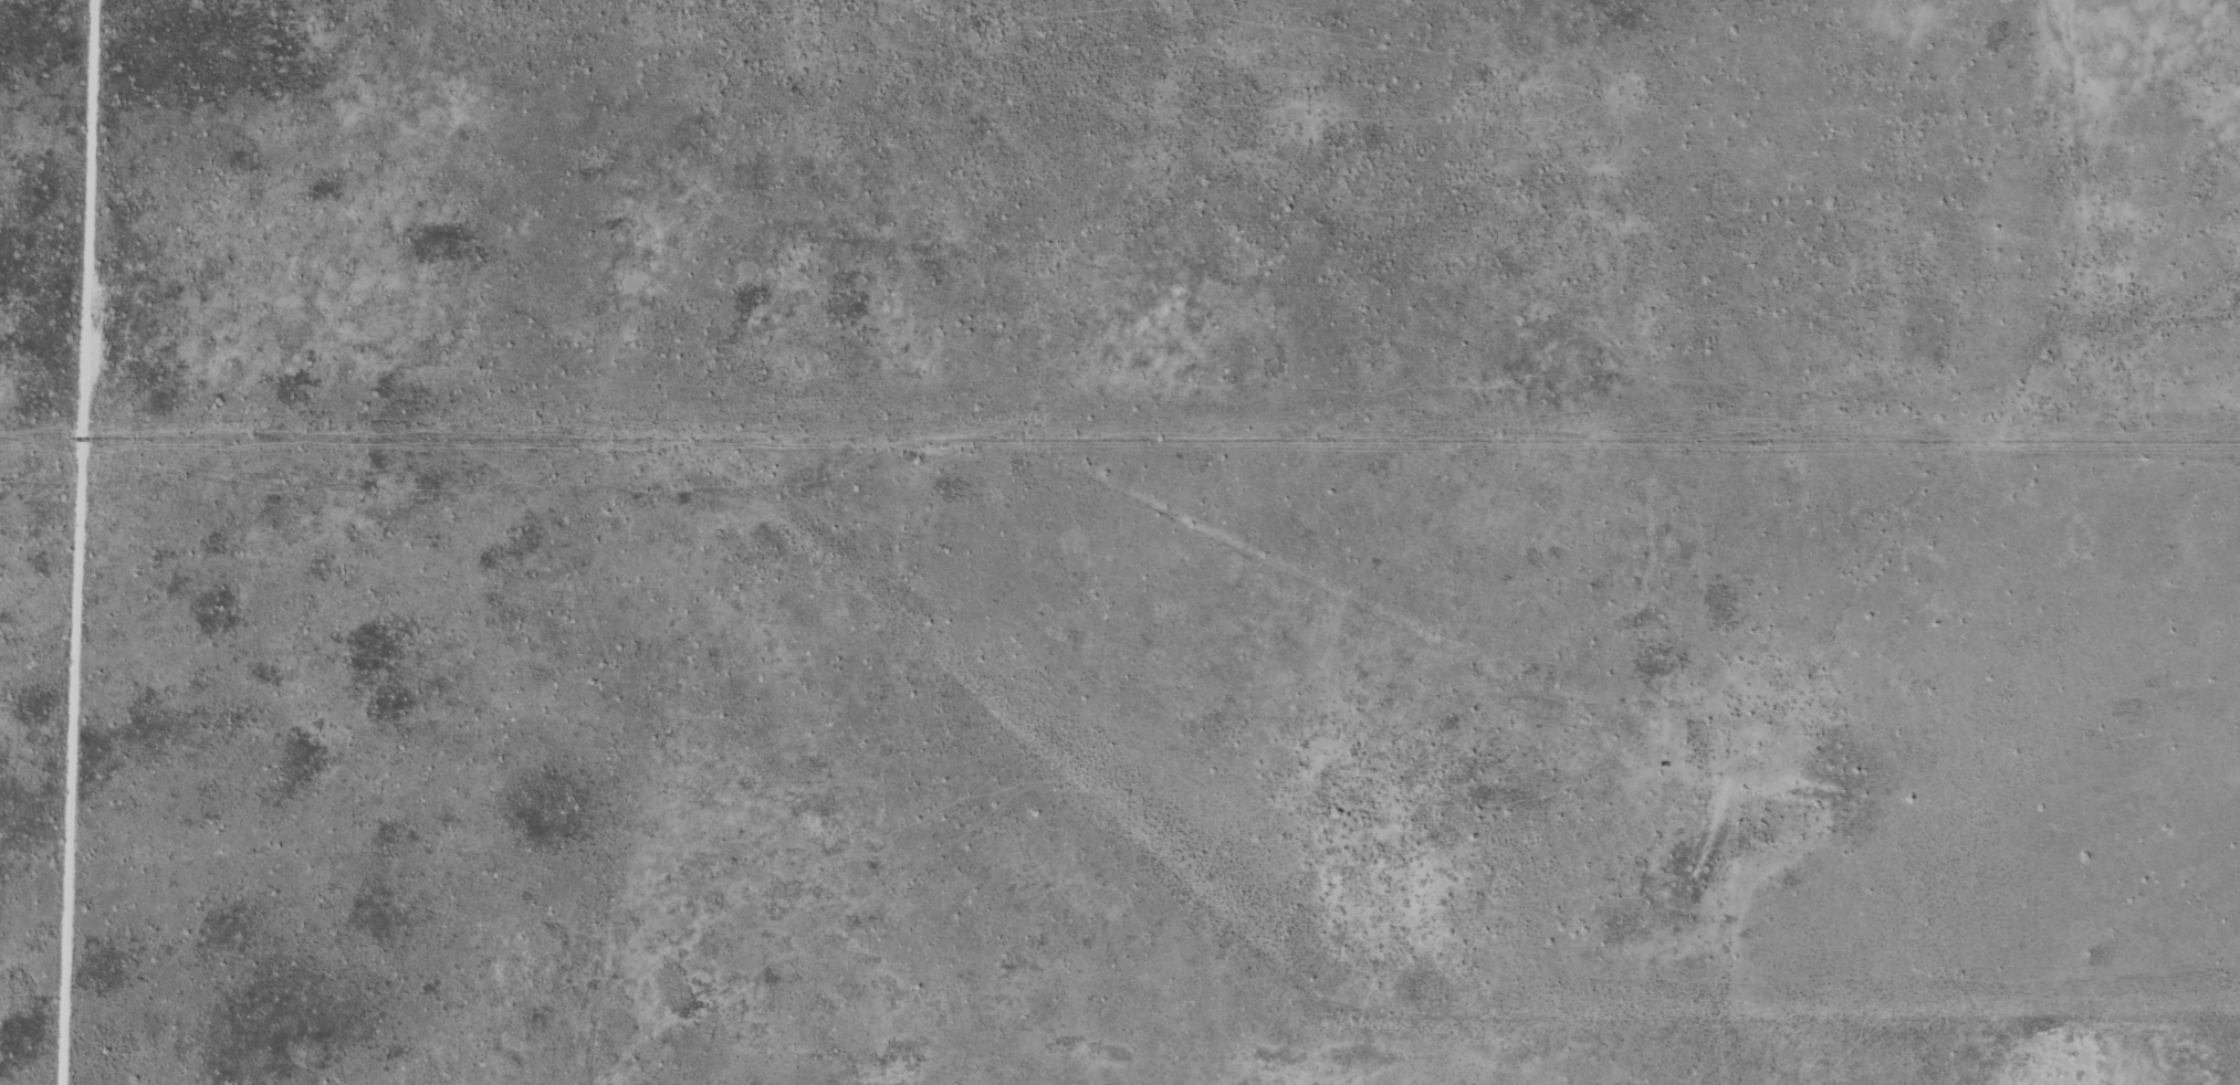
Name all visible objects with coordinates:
road: (1939, 518)
road: (630, 747)
road: (1563, 1026)

